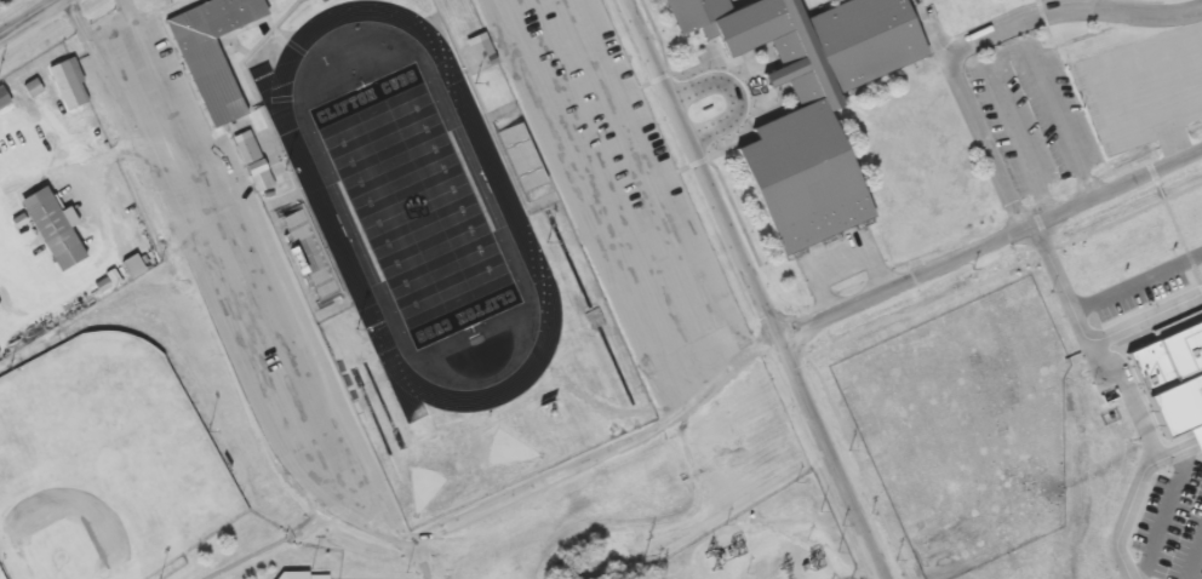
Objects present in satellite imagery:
road: (1069, 8)
road: (29, 18)
road: (75, 21)
building: (481, 48)
building: (213, 53)
road: (1008, 58)
road: (735, 93)
building: (807, 99)
parking lot: (1023, 121)
road: (973, 122)
building: (248, 148)
building: (523, 154)
road: (639, 182)
parking lot: (622, 188)
road: (593, 196)
track: (508, 202)
park: (414, 205)
building: (53, 228)
stadium: (419, 235)
road: (990, 246)
building: (310, 253)
building: (134, 264)
road: (258, 276)
road: (1137, 283)
parking lot: (1144, 287)
road: (755, 288)
road: (1084, 344)
building: (0, 355)
building: (1170, 382)
road: (1128, 399)
road: (603, 451)
road: (1138, 495)
road: (1163, 515)
parking lot: (1170, 527)
power substation: (768, 541)
road: (1194, 557)
road: (418, 560)

